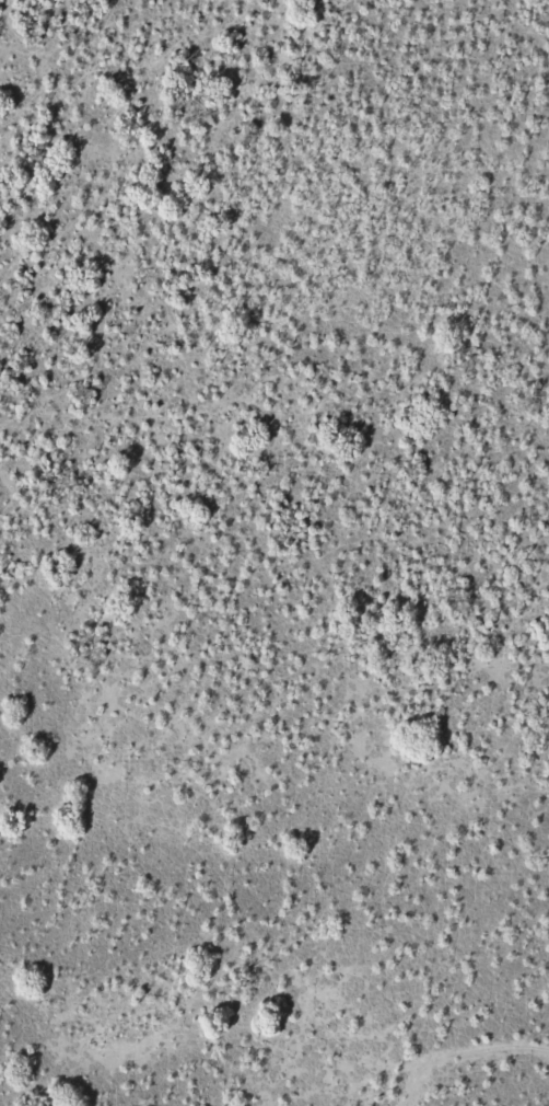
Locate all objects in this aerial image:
road: (460, 1069)

